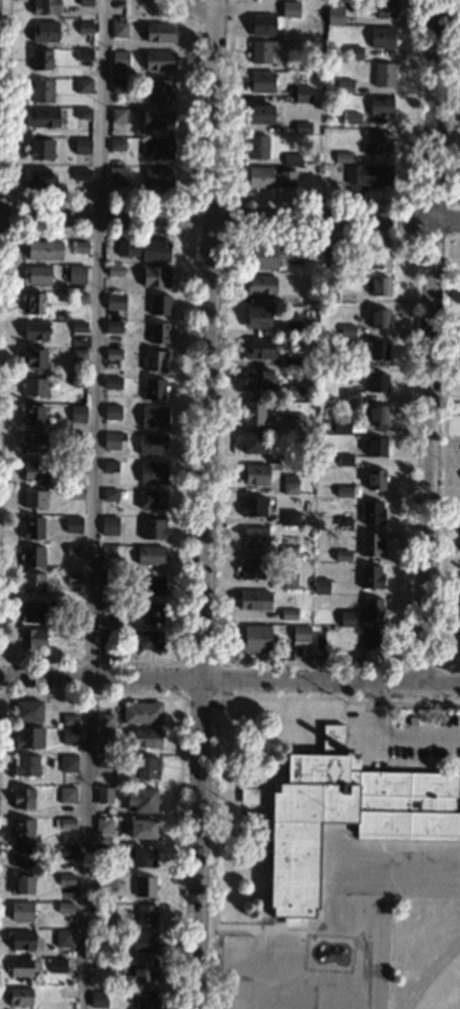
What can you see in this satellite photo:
building: (85, 2)
building: (45, 7)
building: (290, 9)
building: (384, 9)
building: (334, 16)
building: (264, 25)
building: (85, 28)
building: (119, 30)
building: (45, 32)
building: (159, 32)
building: (380, 37)
building: (259, 52)
building: (352, 53)
building: (83, 54)
building: (119, 59)
building: (41, 60)
building: (159, 61)
building: (295, 65)
building: (383, 75)
building: (261, 82)
building: (118, 85)
building: (83, 86)
building: (344, 87)
building: (41, 91)
building: (160, 91)
building: (302, 94)
building: (380, 105)
building: (83, 113)
building: (261, 114)
building: (117, 115)
building: (44, 118)
building: (351, 118)
building: (157, 120)
building: (302, 128)
building: (379, 144)
building: (116, 145)
building: (81, 146)
building: (257, 147)
building: (40, 149)
building: (157, 149)
road: (5, 155)
building: (342, 158)
building: (291, 160)
building: (116, 173)
building: (81, 174)
building: (368, 175)
building: (157, 177)
building: (269, 177)
building: (39, 178)
road: (229, 227)
building: (80, 247)
building: (145, 249)
building: (44, 250)
building: (329, 254)
building: (269, 255)
building: (380, 259)
building: (64, 266)
building: (115, 271)
building: (76, 274)
building: (38, 275)
building: (156, 276)
building: (260, 285)
building: (380, 286)
building: (328, 294)
building: (80, 298)
building: (115, 301)
building: (35, 303)
building: (159, 305)
building: (257, 317)
building: (379, 318)
building: (79, 327)
building: (113, 327)
building: (292, 329)
building: (347, 330)
building: (35, 331)
building: (158, 333)
road: (425, 341)
building: (259, 349)
building: (378, 351)
building: (78, 354)
building: (113, 354)
building: (34, 357)
building: (154, 361)
building: (290, 362)
building: (346, 363)
building: (257, 378)
building: (78, 381)
building: (111, 383)
building: (377, 383)
building: (34, 387)
building: (154, 389)
building: (293, 391)
building: (350, 395)
building: (112, 412)
building: (77, 413)
building: (253, 414)
building: (33, 415)
building: (378, 415)
building: (153, 416)
building: (294, 422)
building: (342, 427)
building: (76, 438)
building: (113, 440)
building: (35, 443)
building: (251, 443)
building: (152, 445)
building: (376, 447)
building: (290, 457)
building: (345, 460)
building: (76, 465)
building: (111, 466)
building: (34, 471)
building: (152, 473)
building: (255, 475)
building: (376, 480)
building: (289, 485)
building: (344, 491)
building: (75, 493)
building: (109, 495)
building: (34, 498)
building: (151, 499)
road: (93, 504)
road: (206, 504)
building: (253, 506)
building: (372, 512)
building: (290, 518)
building: (343, 523)
building: (73, 525)
building: (109, 525)
building: (33, 528)
building: (152, 529)
building: (253, 537)
building: (371, 545)
building: (73, 550)
building: (112, 551)
building: (288, 552)
building: (150, 555)
building: (32, 556)
building: (342, 556)
building: (251, 568)
building: (370, 576)
building: (73, 579)
building: (108, 579)
building: (288, 581)
building: (32, 582)
building: (147, 584)
building: (321, 586)
building: (253, 600)
building: (72, 606)
building: (109, 606)
building: (372, 608)
building: (32, 611)
building: (153, 612)
building: (288, 614)
building: (347, 619)
building: (72, 634)
building: (301, 634)
building: (105, 635)
building: (32, 639)
building: (256, 639)
building: (150, 640)
building: (371, 640)
building: (319, 641)
road: (229, 681)
building: (27, 711)
building: (142, 713)
building: (104, 716)
building: (69, 720)
building: (106, 733)
building: (69, 735)
building: (282, 736)
building: (28, 738)
building: (147, 738)
road: (393, 741)
building: (104, 761)
building: (68, 764)
building: (26, 766)
building: (143, 767)
building: (66, 795)
building: (104, 795)
building: (23, 798)
building: (142, 800)
building: (342, 815)
building: (67, 823)
building: (103, 825)
building: (22, 828)
building: (141, 829)
building: (68, 853)
building: (101, 854)
building: (21, 857)
building: (139, 857)
building: (66, 879)
building: (110, 883)
building: (22, 885)
building: (145, 886)
building: (96, 897)
building: (64, 908)
building: (101, 908)
building: (21, 911)
building: (145, 915)
building: (63, 939)
building: (23, 940)
building: (144, 942)
building: (101, 964)
building: (56, 966)
building: (23, 967)
building: (139, 971)
building: (19, 997)
building: (98, 999)
building: (146, 999)

